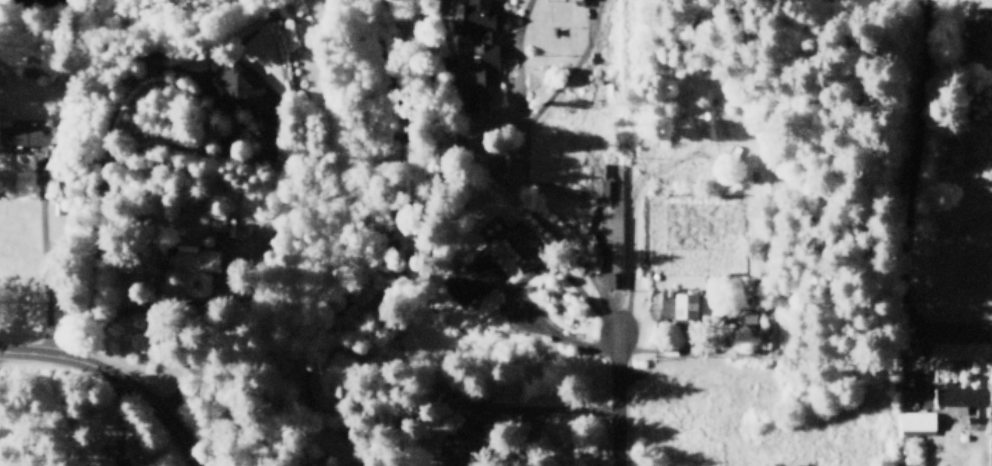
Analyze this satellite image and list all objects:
building: (983, 33)
building: (482, 34)
building: (238, 84)
building: (34, 133)
building: (957, 143)
building: (218, 220)
building: (522, 235)
road: (900, 247)
building: (199, 260)
building: (475, 278)
road: (116, 376)
building: (958, 396)
road: (619, 400)
building: (919, 419)
building: (463, 443)

